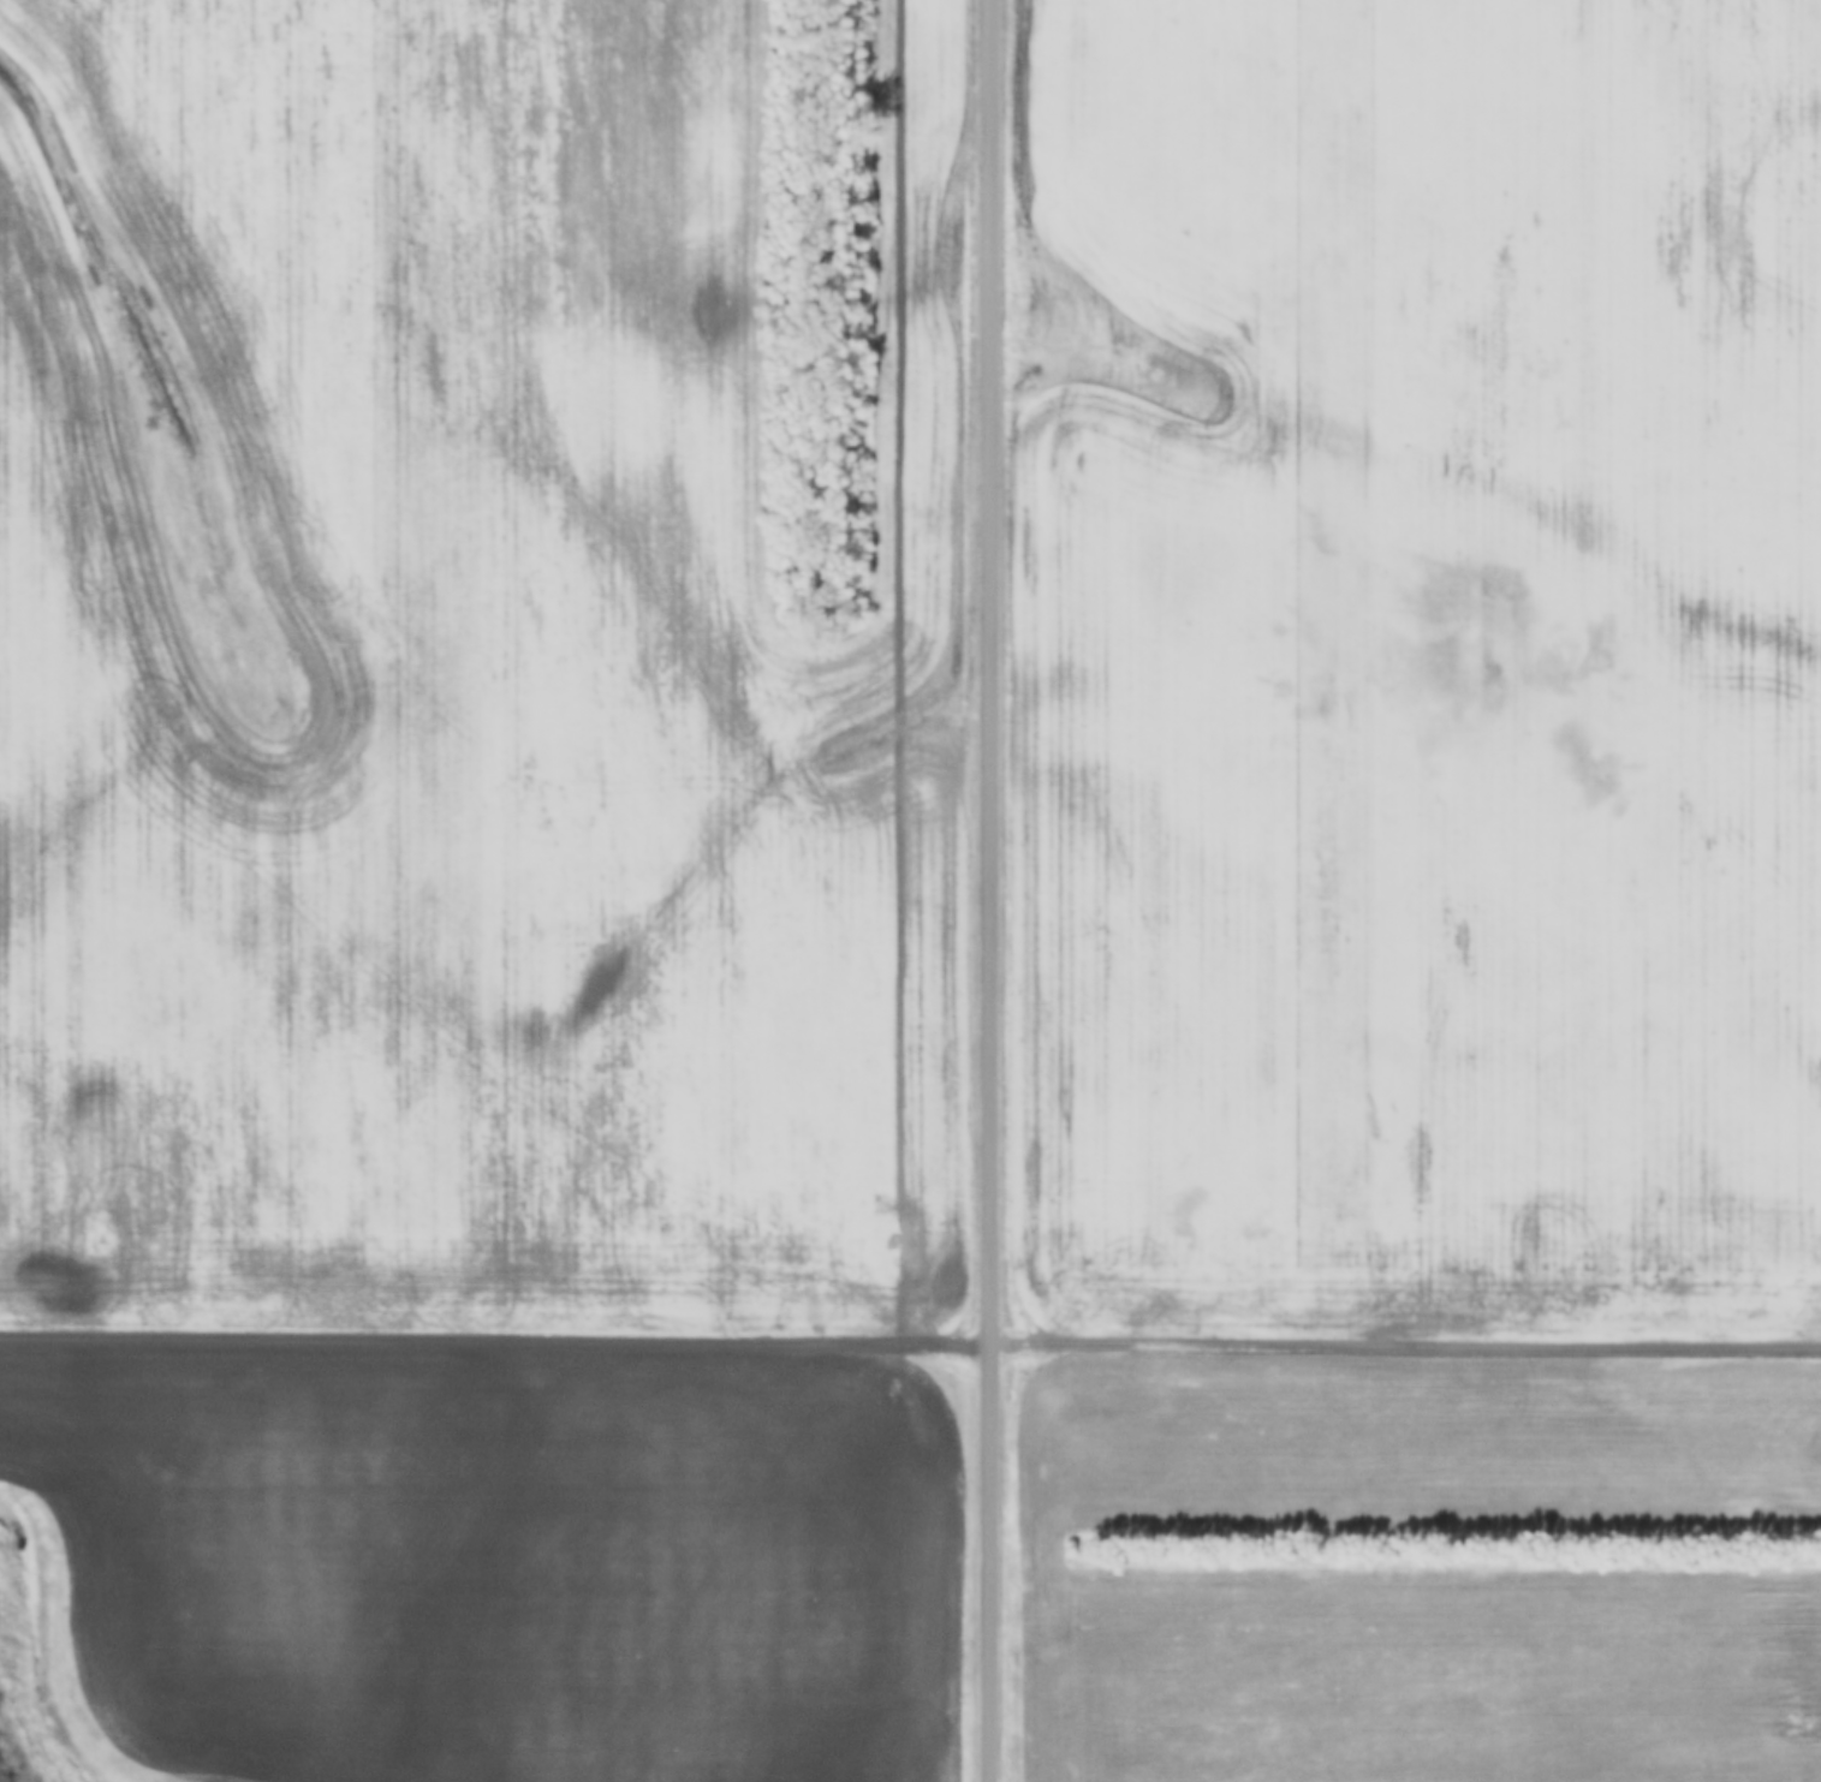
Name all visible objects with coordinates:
road: (990, 890)
road: (910, 1346)

